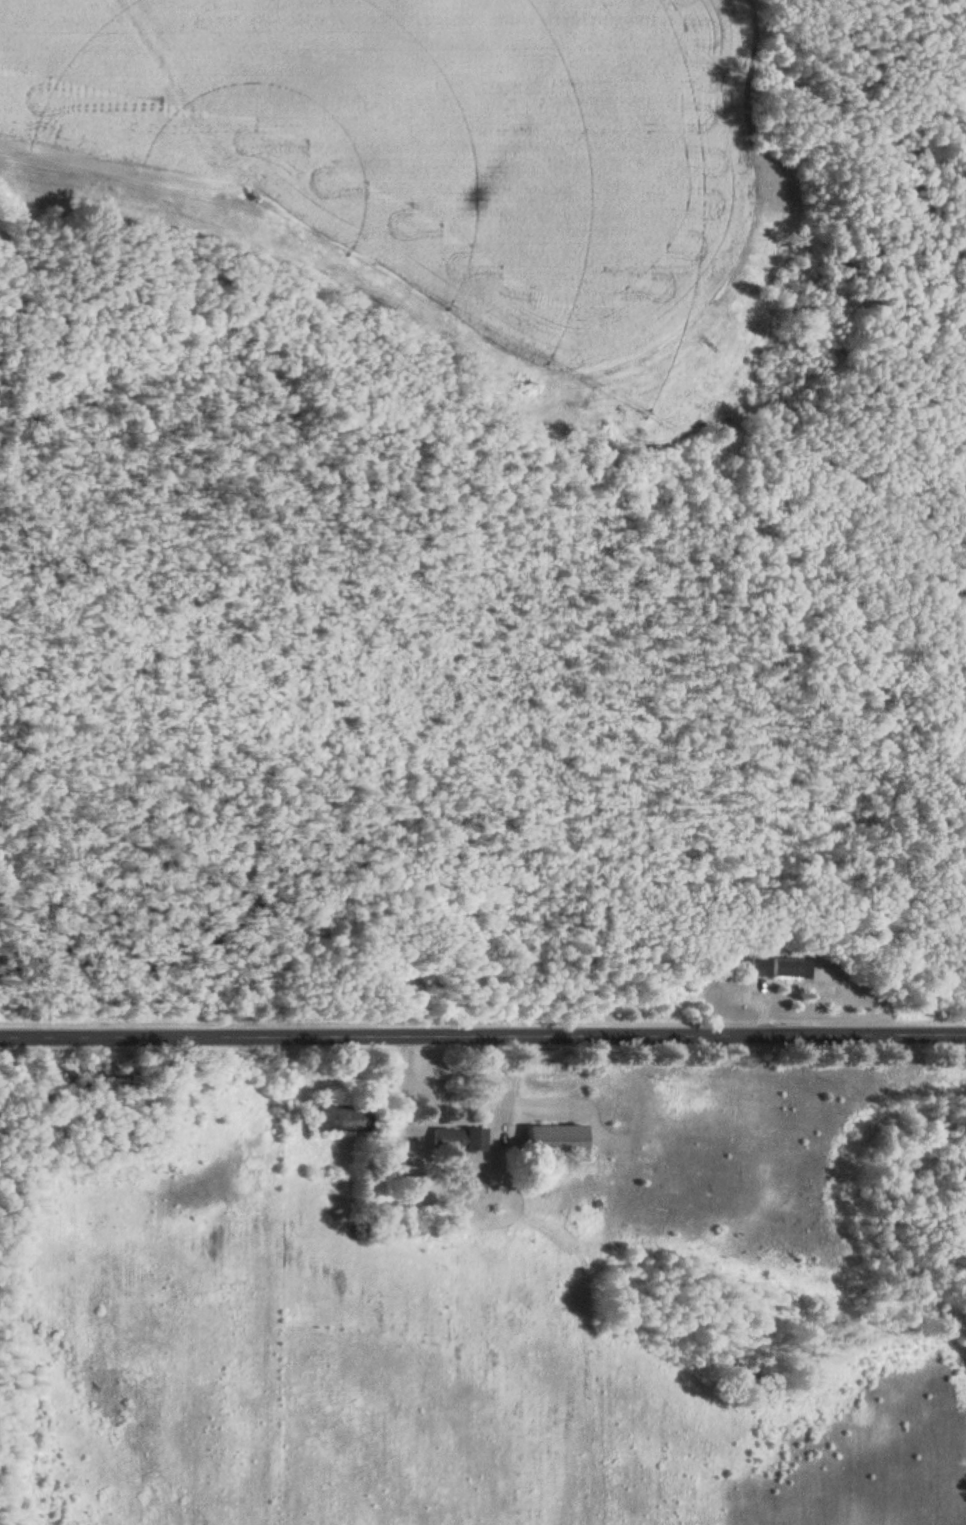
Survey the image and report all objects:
building: (757, 967)
building: (790, 969)
road: (483, 1034)
building: (339, 1117)
building: (455, 1141)
building: (552, 1141)

